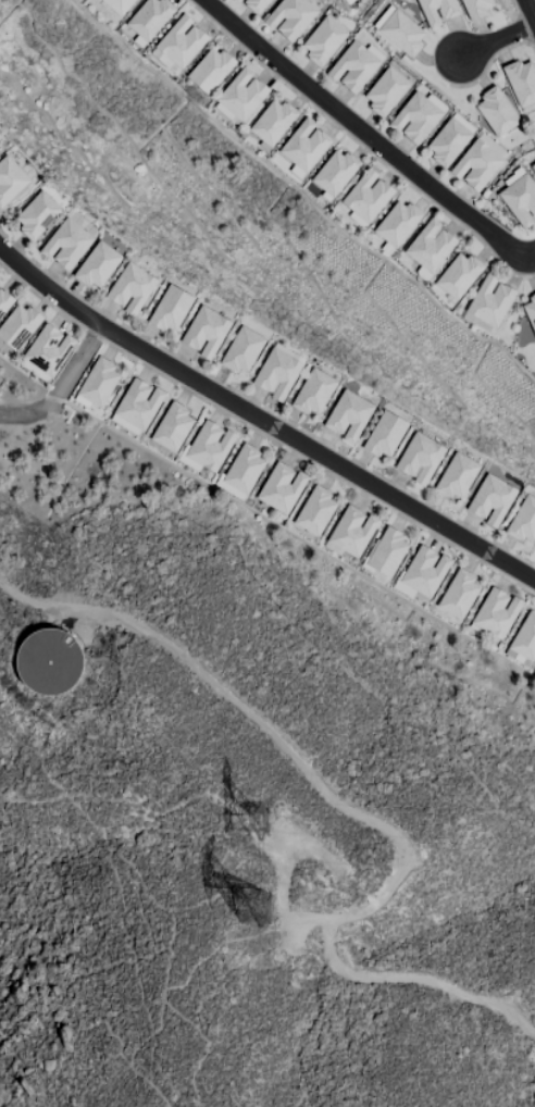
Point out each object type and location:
building: (344, 0)
building: (257, 4)
building: (119, 5)
building: (477, 8)
road: (530, 9)
building: (437, 11)
building: (150, 17)
building: (290, 17)
building: (401, 33)
road: (497, 39)
building: (323, 40)
building: (182, 41)
building: (353, 66)
building: (210, 70)
building: (521, 80)
building: (386, 90)
building: (241, 94)
building: (496, 111)
building: (415, 117)
building: (273, 122)
road: (368, 134)
building: (448, 141)
building: (304, 145)
building: (476, 164)
building: (335, 172)
building: (11, 183)
building: (368, 196)
building: (520, 199)
building: (37, 214)
building: (398, 223)
building: (66, 244)
building: (431, 246)
building: (97, 265)
building: (459, 275)
building: (130, 288)
building: (490, 300)
building: (4, 301)
building: (171, 309)
building: (531, 311)
building: (18, 326)
building: (206, 332)
building: (242, 350)
building: (46, 351)
road: (76, 364)
building: (277, 373)
building: (98, 382)
building: (313, 391)
building: (138, 403)
building: (349, 415)
road: (261, 421)
building: (173, 426)
building: (385, 434)
building: (210, 445)
building: (420, 458)
building: (244, 468)
building: (457, 476)
building: (282, 487)
building: (492, 500)
building: (315, 511)
building: (524, 520)
building: (352, 531)
building: (386, 551)
building: (425, 570)
building: (459, 593)
building: (496, 612)
building: (525, 637)
building: (518, 658)
water tower: (49, 660)
road: (354, 811)
power tower: (270, 822)
power tower: (258, 913)

